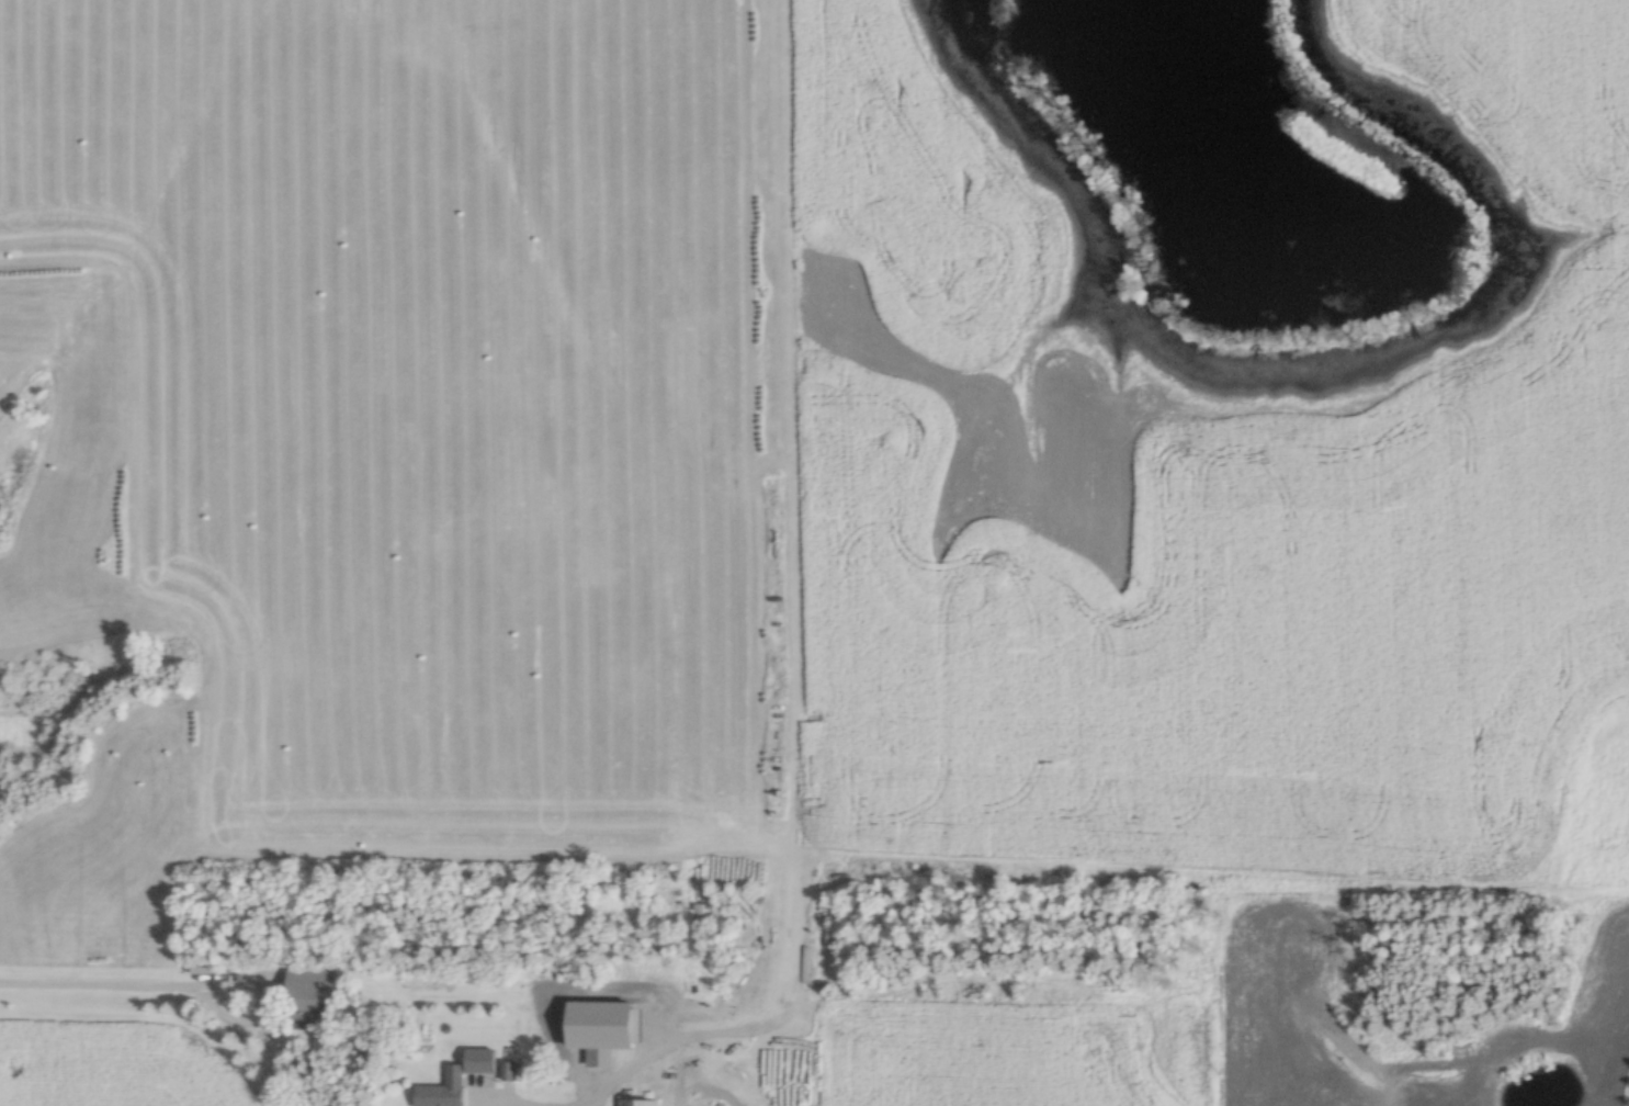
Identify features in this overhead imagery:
building: (701, 927)
road: (135, 978)
building: (318, 988)
building: (484, 1059)
road: (504, 1087)
building: (442, 1095)
building: (641, 1102)

